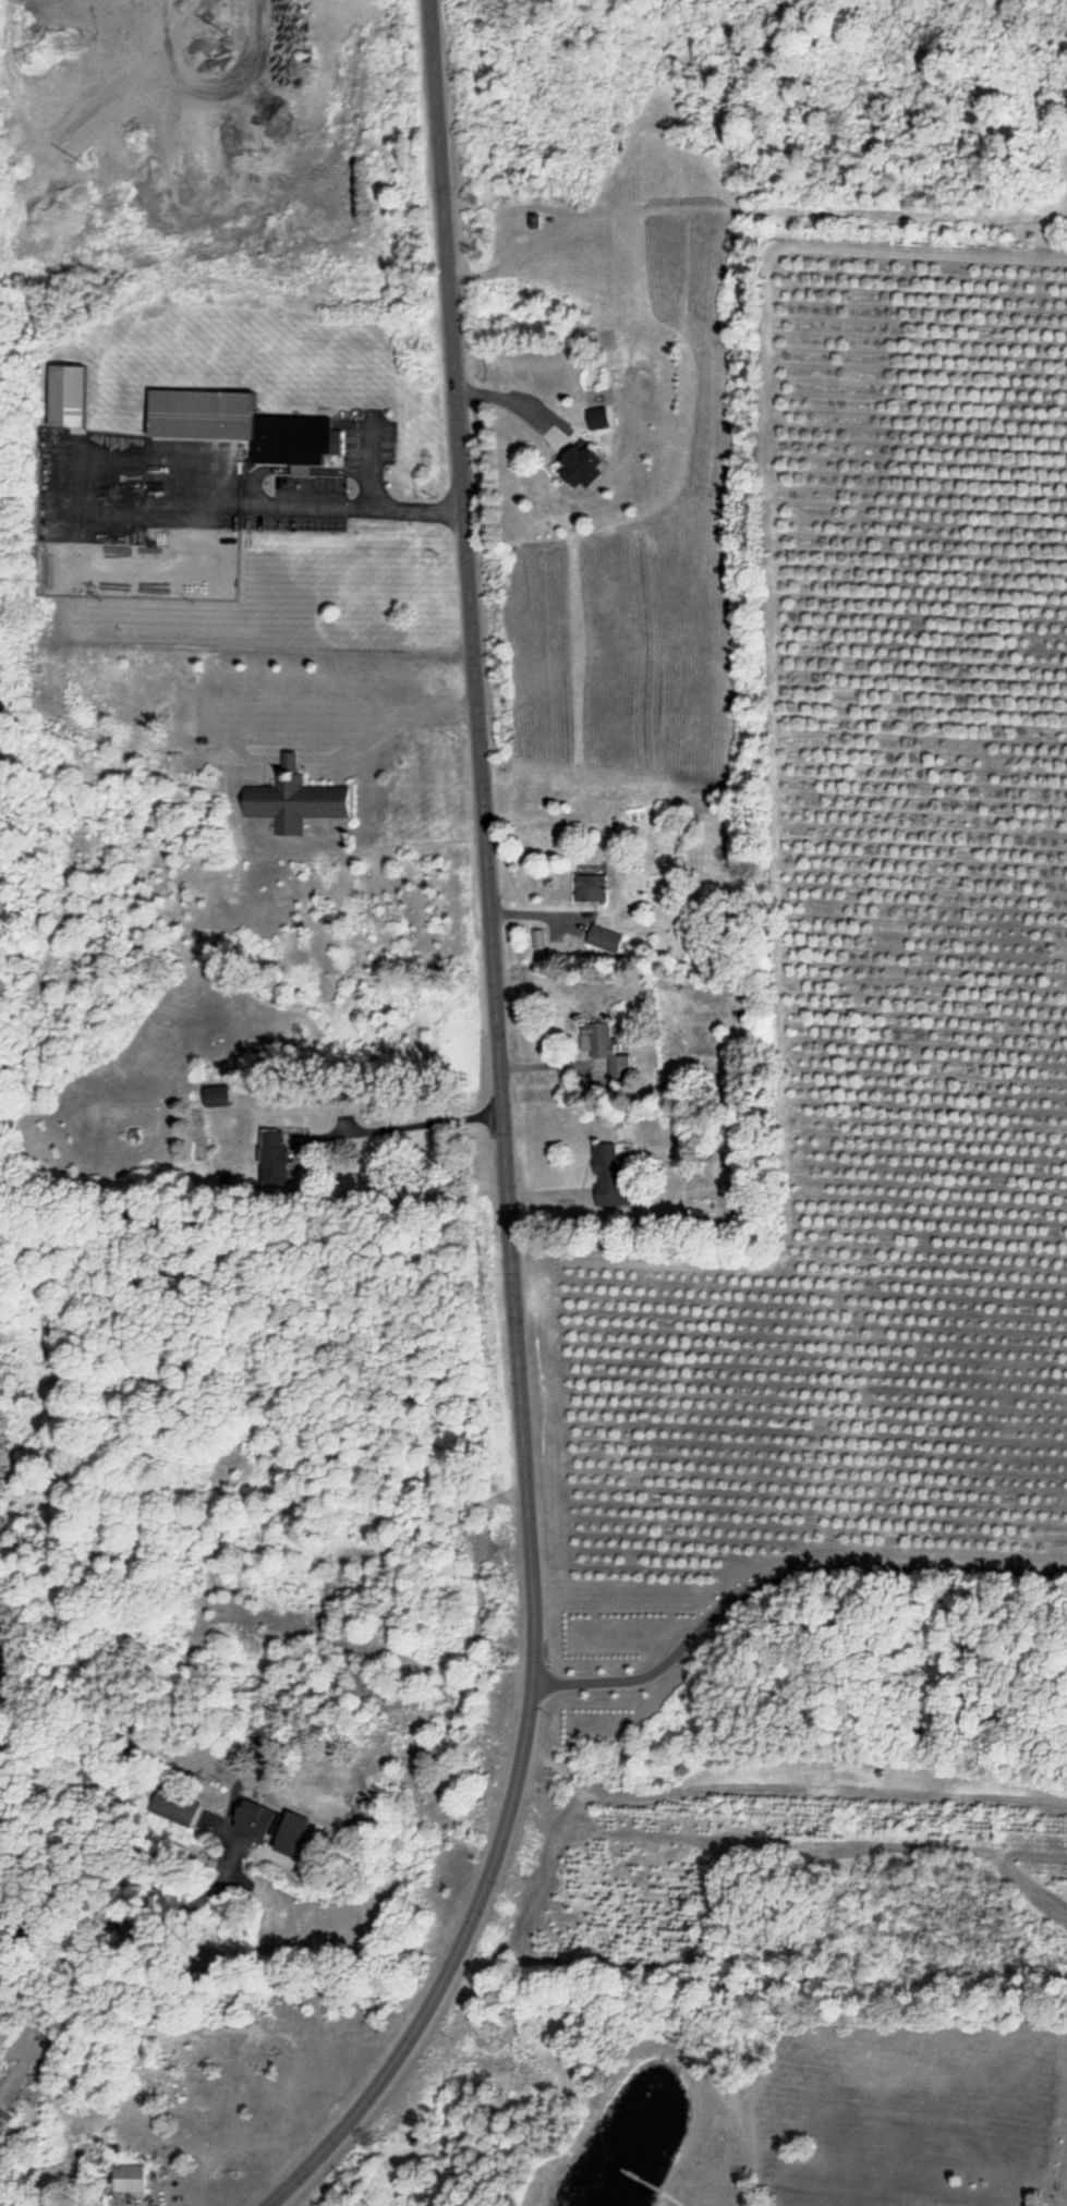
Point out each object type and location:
building: (72, 400)
building: (597, 420)
building: (244, 428)
building: (583, 469)
building: (296, 803)
building: (593, 889)
building: (606, 942)
building: (597, 1044)
building: (217, 1099)
road: (499, 1140)
building: (276, 1161)
building: (610, 1180)
building: (282, 1832)
building: (130, 2180)
building: (89, 2205)

